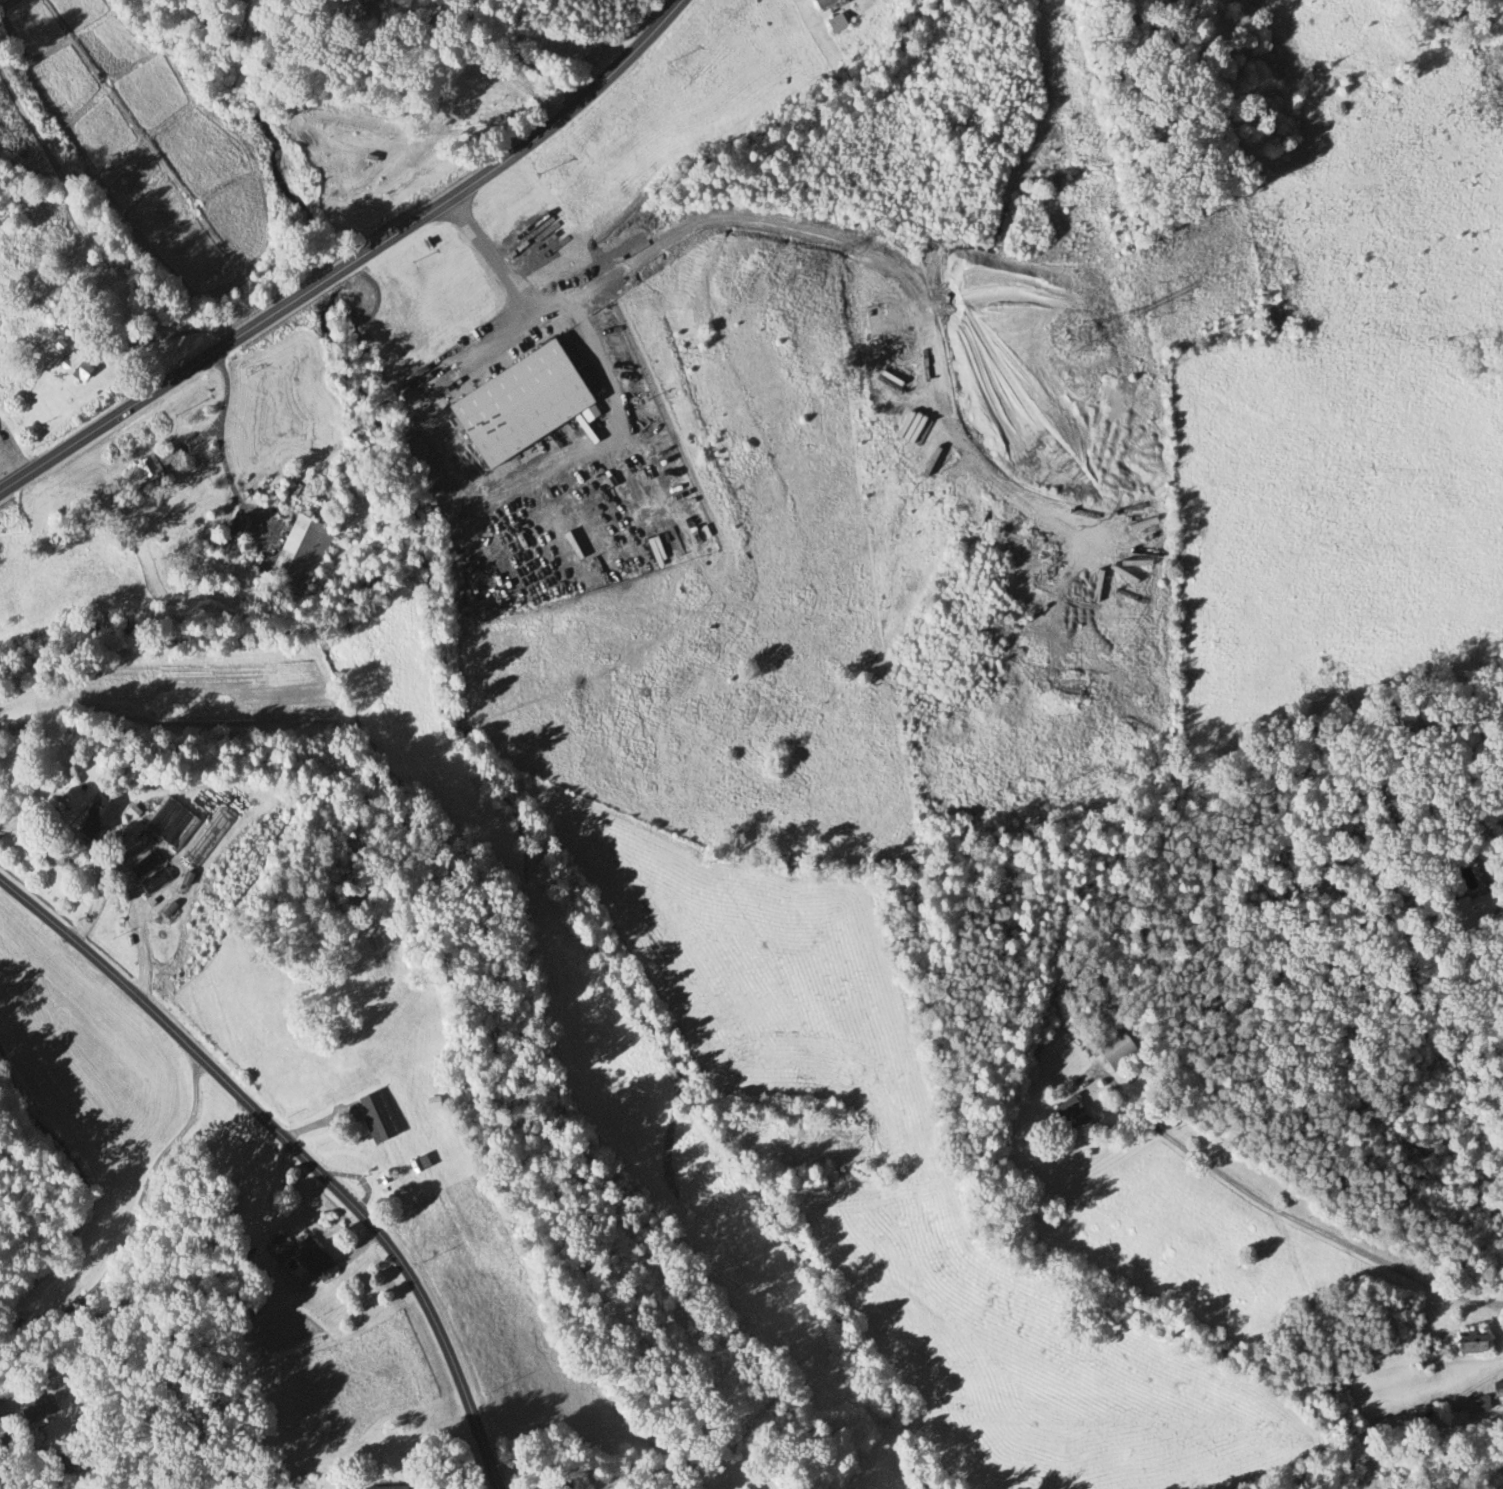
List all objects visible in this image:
building: (820, 3)
building: (835, 24)
power tower: (1484, 101)
road: (531, 141)
road: (331, 277)
power tower: (785, 278)
road: (514, 304)
power tower: (1079, 340)
building: (72, 367)
road: (151, 394)
building: (518, 404)
building: (145, 472)
building: (299, 555)
building: (93, 821)
building: (168, 826)
building: (205, 838)
building: (137, 860)
building: (153, 883)
building: (1476, 909)
building: (1115, 1052)
building: (430, 1102)
building: (1066, 1112)
building: (373, 1116)
road: (294, 1152)
building: (417, 1163)
road: (142, 1176)
road: (1277, 1210)
building: (300, 1255)
building: (1468, 1343)
building: (1498, 1390)
building: (1479, 1404)
building: (33, 1409)
building: (1460, 1422)
building: (382, 1487)
building: (744, 1488)

